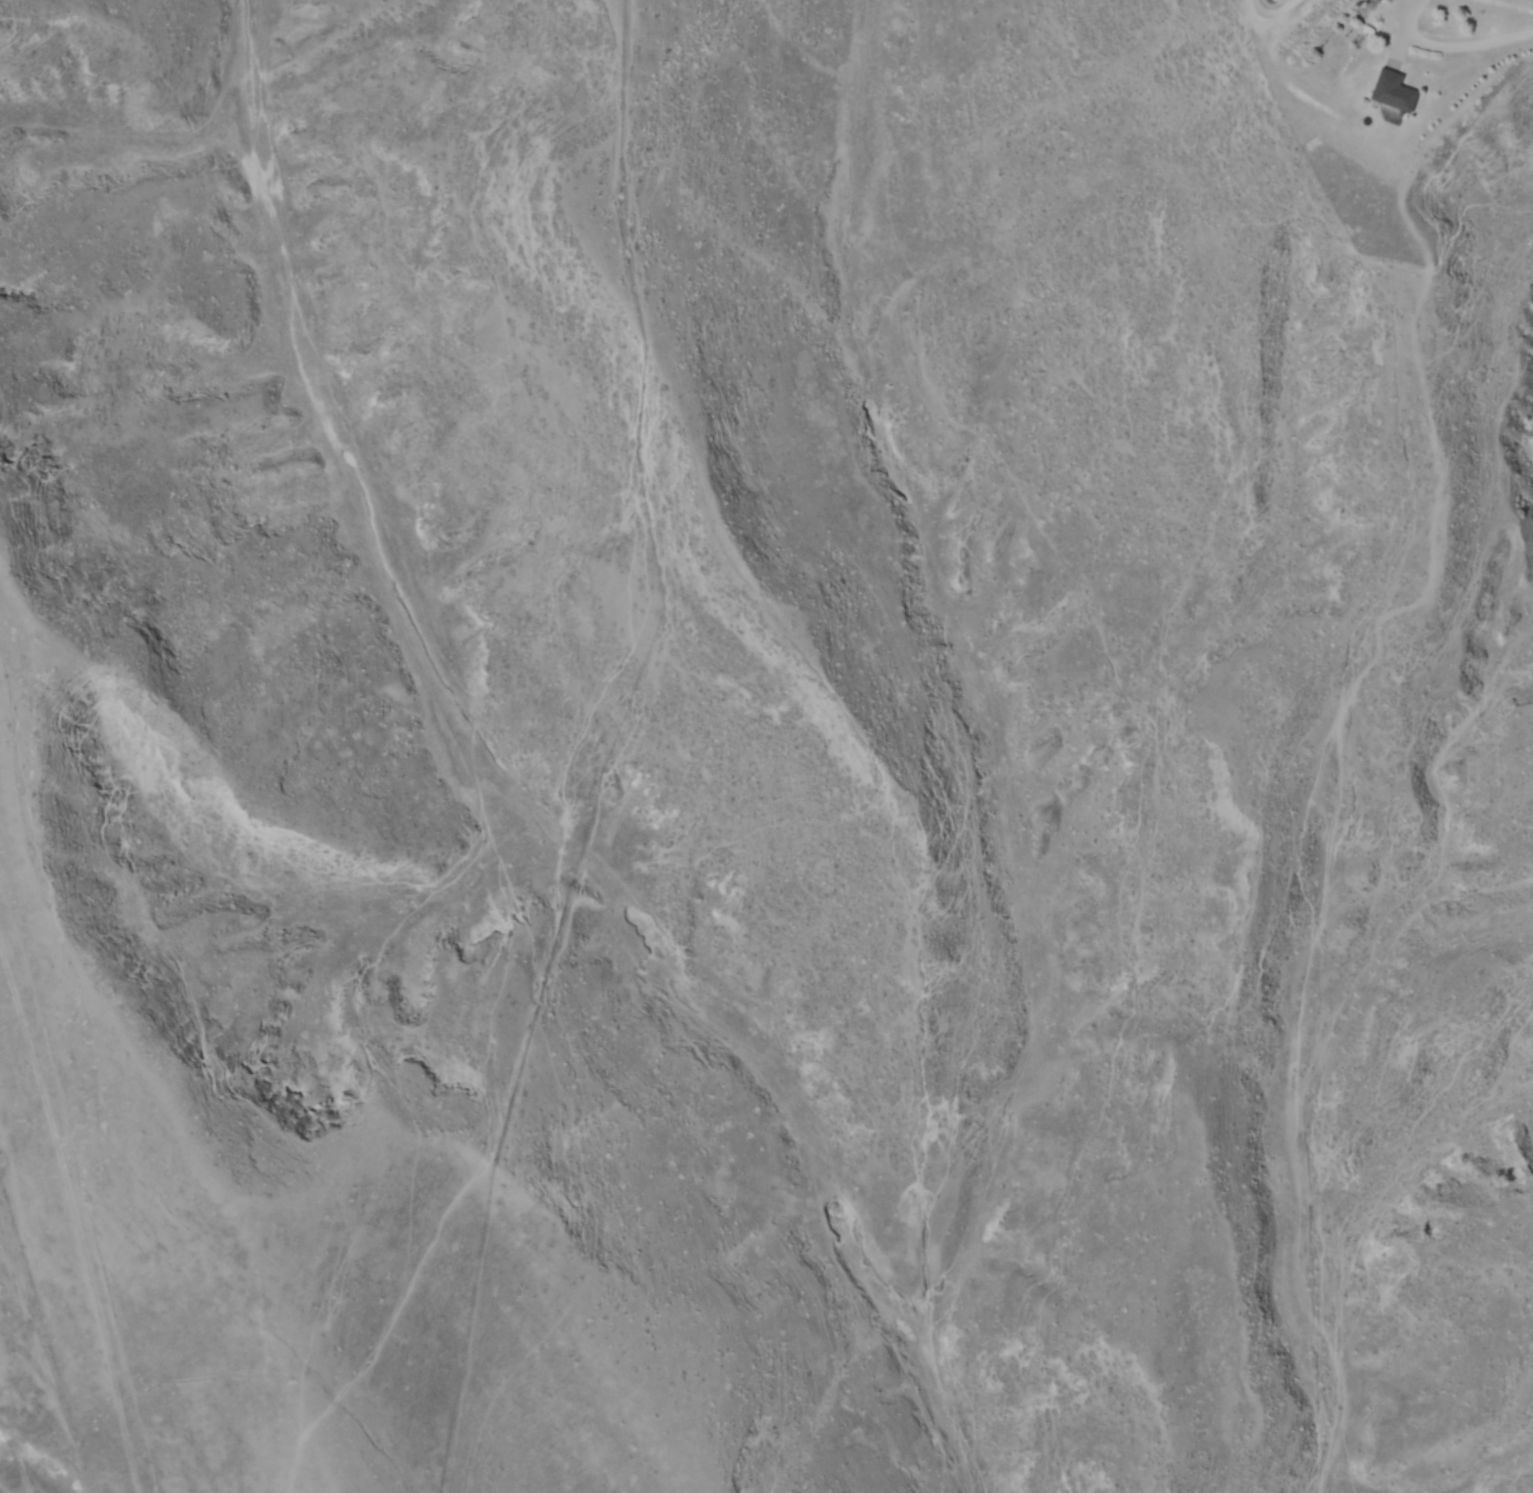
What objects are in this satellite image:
building: (1388, 0)
road: (1452, 49)
building: (1393, 92)

